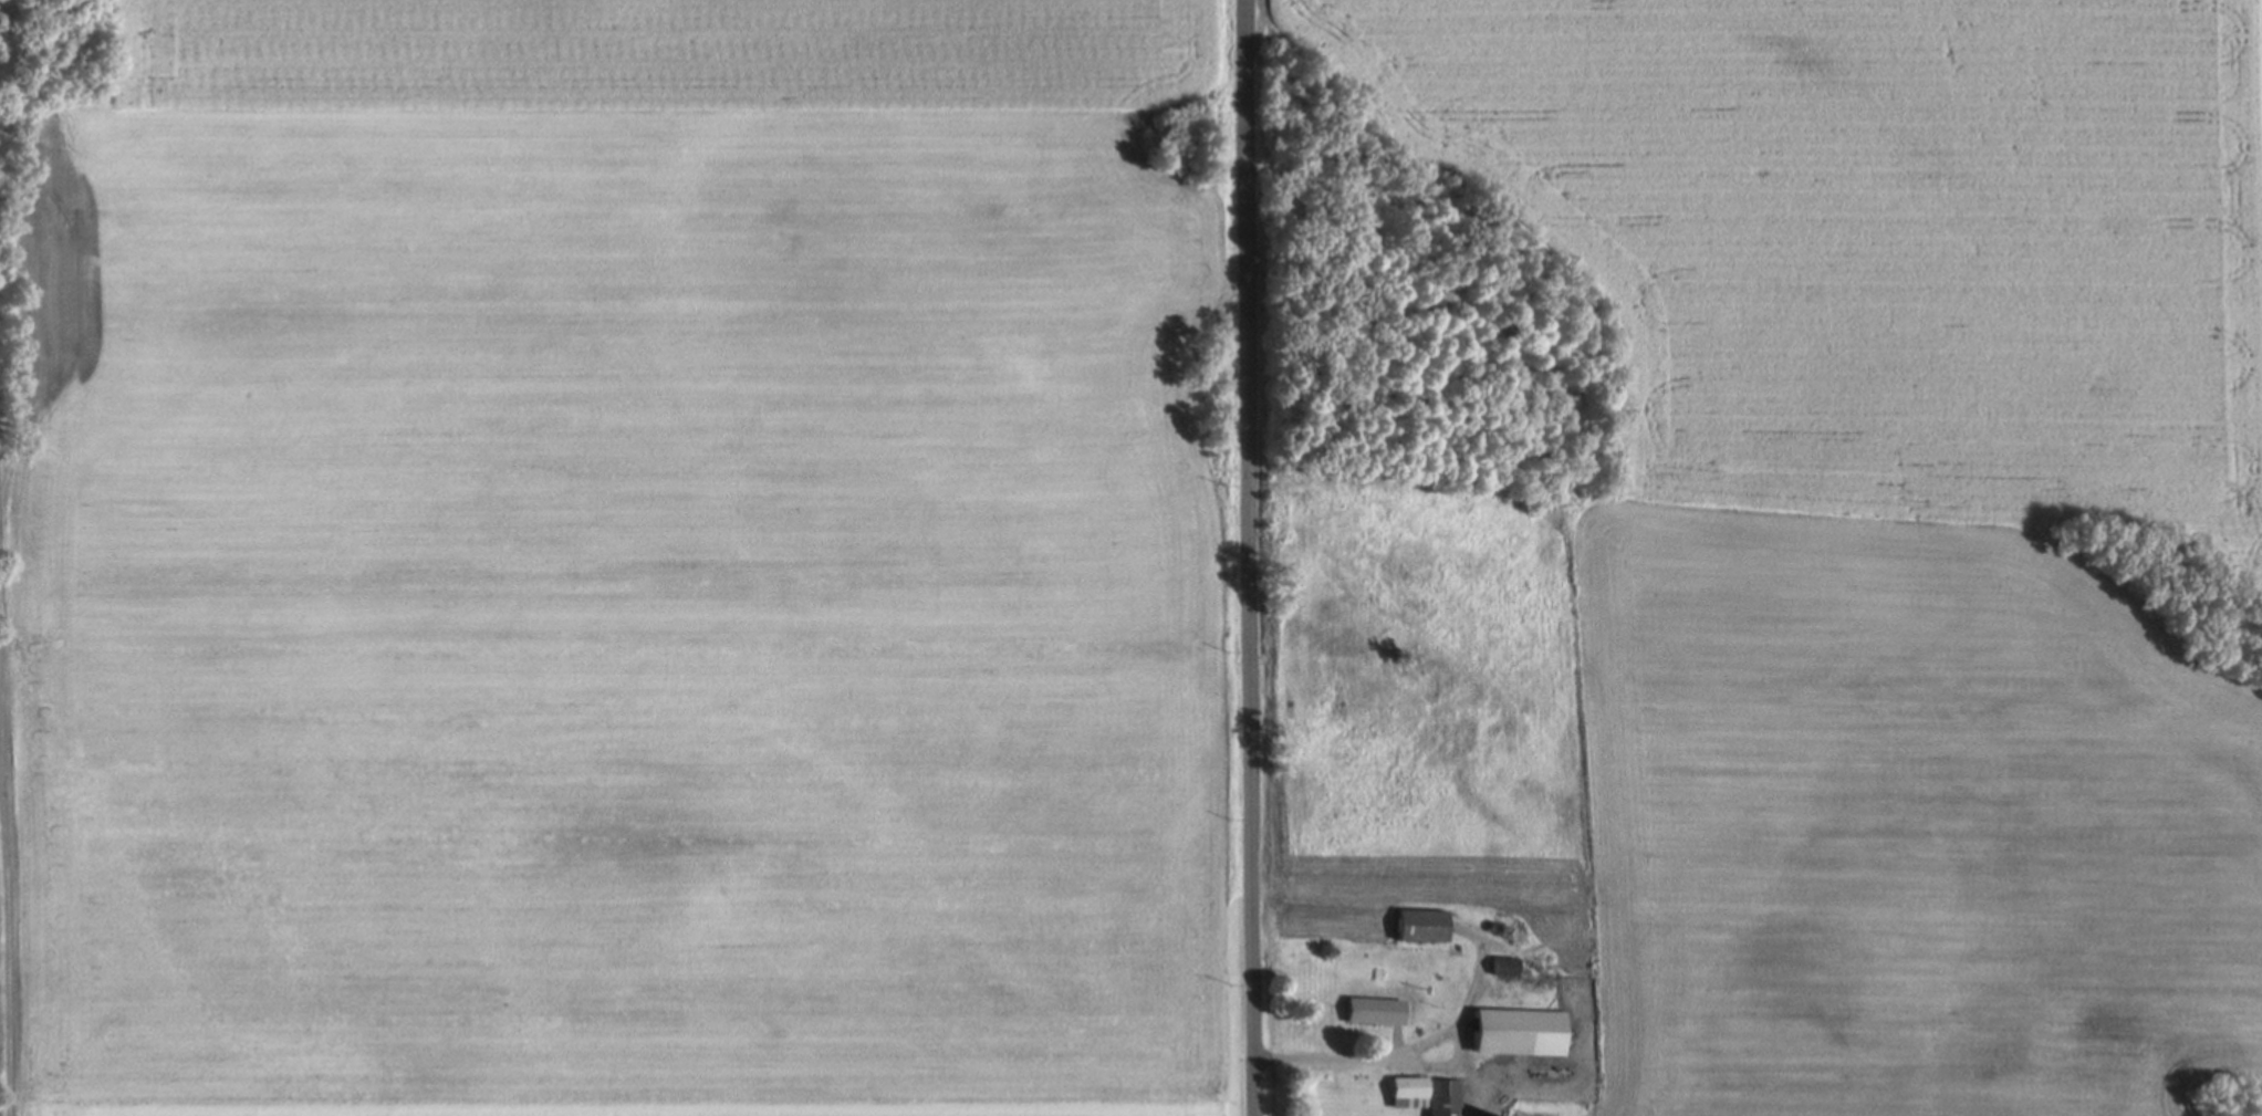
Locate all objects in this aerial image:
road: (1249, 268)
road: (4, 816)
road: (1254, 825)
building: (1420, 926)
building: (1504, 966)
building: (1375, 1011)
building: (1518, 1033)
building: (1428, 1094)

